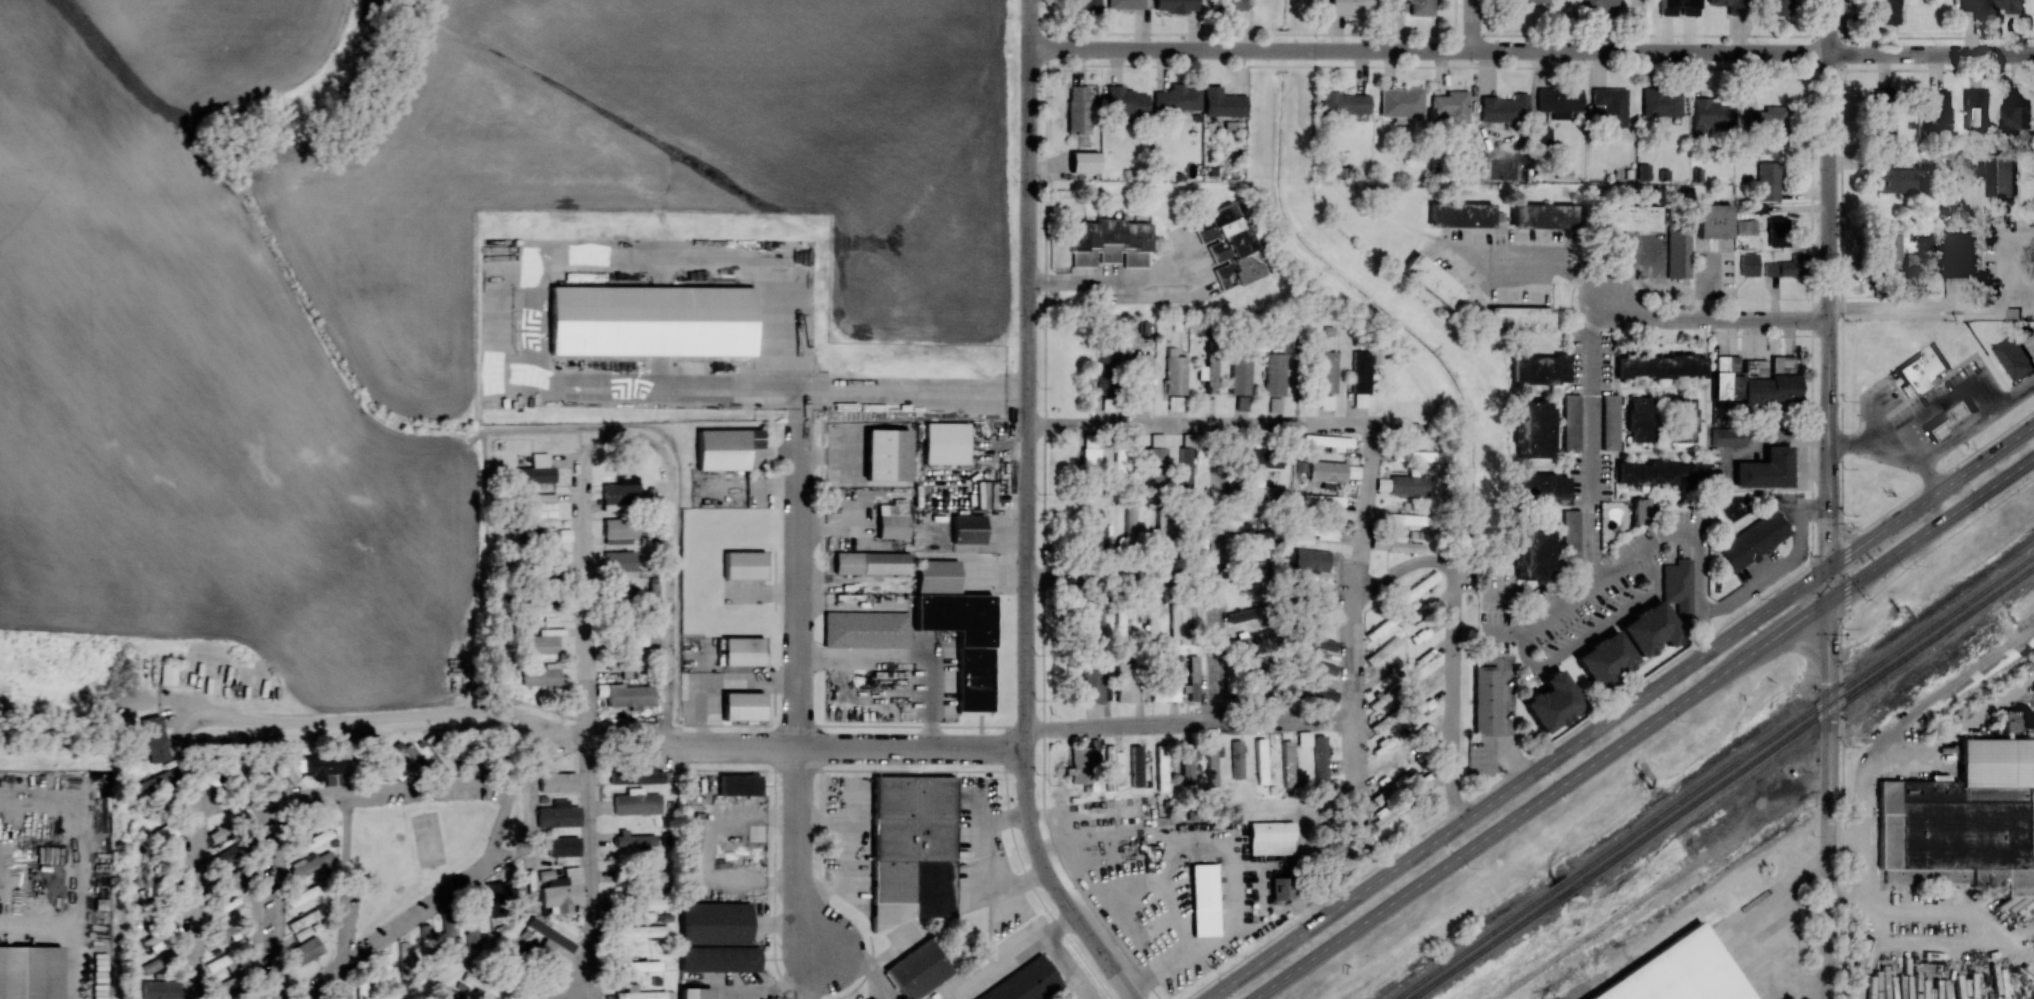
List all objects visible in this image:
building: (1528, 1)
building: (1124, 4)
building: (1596, 4)
building: (1090, 5)
building: (1175, 5)
building: (1228, 5)
building: (1969, 5)
building: (2007, 5)
building: (1350, 6)
building: (1729, 6)
building: (1422, 7)
building: (1678, 7)
building: (1776, 7)
building: (1887, 11)
road: (1473, 25)
road: (1429, 51)
road: (1930, 54)
building: (1882, 96)
building: (1175, 100)
building: (1559, 101)
building: (1126, 102)
building: (1222, 102)
building: (1401, 102)
building: (1661, 102)
building: (1344, 103)
building: (1450, 106)
building: (1609, 107)
building: (1077, 108)
building: (1935, 108)
building: (1975, 108)
building: (1504, 109)
building: (2016, 109)
building: (1709, 115)
building: (1881, 124)
building: (1769, 128)
building: (1541, 134)
building: (1084, 161)
building: (2001, 178)
building: (1895, 179)
building: (1767, 181)
building: (1758, 208)
building: (1460, 214)
building: (1543, 215)
building: (1625, 217)
building: (1713, 220)
building: (1745, 227)
building: (1778, 232)
building: (1109, 242)
building: (1226, 246)
building: (1890, 247)
building: (1678, 252)
building: (1962, 255)
road: (1533, 258)
building: (1748, 264)
building: (1786, 267)
road: (1105, 280)
building: (1432, 280)
road: (1662, 283)
road: (1828, 283)
road: (1961, 303)
road: (1712, 317)
building: (1519, 319)
building: (650, 320)
building: (2014, 357)
building: (1660, 365)
building: (1103, 366)
building: (1539, 369)
building: (1922, 369)
building: (1325, 371)
building: (1175, 372)
building: (1209, 373)
building: (1275, 374)
road: (502, 375)
building: (1240, 375)
building: (1360, 379)
building: (1754, 379)
building: (1141, 380)
building: (1242, 402)
building: (1175, 403)
building: (1275, 404)
road: (1943, 405)
building: (1637, 419)
building: (1682, 419)
building: (1949, 420)
building: (1610, 421)
building: (1570, 422)
road: (1198, 426)
building: (1532, 429)
road: (1962, 431)
road: (628, 434)
building: (1726, 437)
road: (1787, 437)
building: (1333, 441)
building: (945, 442)
building: (725, 448)
road: (1873, 451)
building: (1412, 453)
building: (886, 454)
building: (1090, 455)
building: (1262, 458)
building: (1156, 461)
building: (1120, 464)
building: (1766, 469)
building: (536, 470)
building: (1186, 470)
building: (1327, 473)
building: (1660, 474)
building: (1408, 485)
building: (1538, 488)
building: (1261, 489)
building: (620, 495)
building: (1320, 500)
building: (541, 506)
building: (1640, 509)
road: (1027, 514)
building: (1407, 518)
building: (892, 521)
building: (1129, 528)
building: (967, 529)
building: (619, 530)
building: (1318, 530)
building: (1096, 535)
building: (544, 536)
building: (1570, 537)
building: (1753, 540)
building: (1403, 545)
road: (1589, 547)
building: (1532, 551)
building: (1313, 559)
building: (619, 560)
building: (871, 562)
building: (744, 564)
traffic signals: (1828, 566)
road: (1401, 567)
road: (1783, 568)
road: (799, 569)
road: (1848, 569)
building: (544, 572)
road: (1122, 573)
road: (1217, 573)
building: (1252, 577)
building: (1427, 580)
building: (1677, 587)
building: (1313, 591)
building: (618, 593)
road: (1524, 593)
traffic signals: (1828, 599)
building: (542, 612)
building: (1243, 614)
building: (1154, 616)
building: (1093, 620)
building: (1122, 623)
building: (1182, 623)
building: (958, 628)
building: (865, 629)
building: (1648, 629)
road: (1351, 632)
road: (1505, 635)
building: (637, 636)
building: (1250, 640)
building: (1315, 643)
building: (539, 644)
building: (743, 651)
road: (909, 655)
road: (1557, 655)
building: (1603, 659)
building: (624, 663)
building: (1321, 667)
building: (167, 673)
building: (543, 676)
building: (1192, 678)
building: (1169, 680)
building: (1126, 682)
road: (720, 683)
building: (1095, 685)
building: (1311, 690)
road: (1839, 690)
road: (1454, 692)
building: (629, 695)
building: (1258, 696)
building: (1485, 700)
building: (1378, 701)
building: (1552, 701)
road: (1611, 702)
building: (742, 705)
road: (1619, 711)
building: (2016, 719)
road: (236, 720)
road: (1189, 723)
building: (1381, 723)
road: (1504, 726)
road: (1643, 727)
building: (154, 738)
building: (1304, 738)
road: (850, 746)
road: (543, 747)
building: (439, 753)
building: (414, 755)
building: (1237, 759)
building: (388, 760)
building: (1261, 760)
building: (1320, 760)
building: (1083, 761)
building: (1212, 761)
building: (1187, 763)
building: (1288, 763)
building: (1112, 765)
building: (1136, 765)
building: (321, 766)
building: (1162, 767)
building: (261, 771)
building: (635, 776)
railway: (1712, 776)
building: (557, 781)
building: (156, 782)
railway: (1721, 782)
road: (1829, 782)
building: (738, 784)
road: (351, 794)
building: (636, 802)
building: (1384, 815)
building: (559, 816)
building: (1270, 837)
building: (634, 838)
building: (314, 840)
building: (563, 846)
building: (912, 848)
road: (1863, 850)
building: (230, 852)
road: (796, 852)
building: (309, 862)
road: (587, 866)
road: (986, 866)
road: (349, 876)
building: (656, 876)
building: (234, 877)
building: (1281, 887)
building: (561, 889)
building: (304, 893)
building: (497, 898)
road: (270, 899)
building: (1203, 899)
building: (644, 903)
building: (306, 918)
road: (401, 920)
road: (1989, 929)
building: (639, 930)
building: (471, 932)
building: (550, 935)
road: (1780, 936)
building: (426, 937)
building: (716, 937)
building: (447, 939)
building: (510, 949)
building: (305, 950)
road: (1009, 956)
building: (405, 958)
building: (157, 962)
building: (639, 965)
road: (1070, 965)
building: (429, 968)
building: (917, 969)
building: (1679, 971)
building: (30, 972)
building: (383, 974)
building: (1025, 983)
building: (227, 984)
building: (160, 989)
building: (362, 989)
building: (639, 993)
building: (695, 993)
road: (582, 995)

